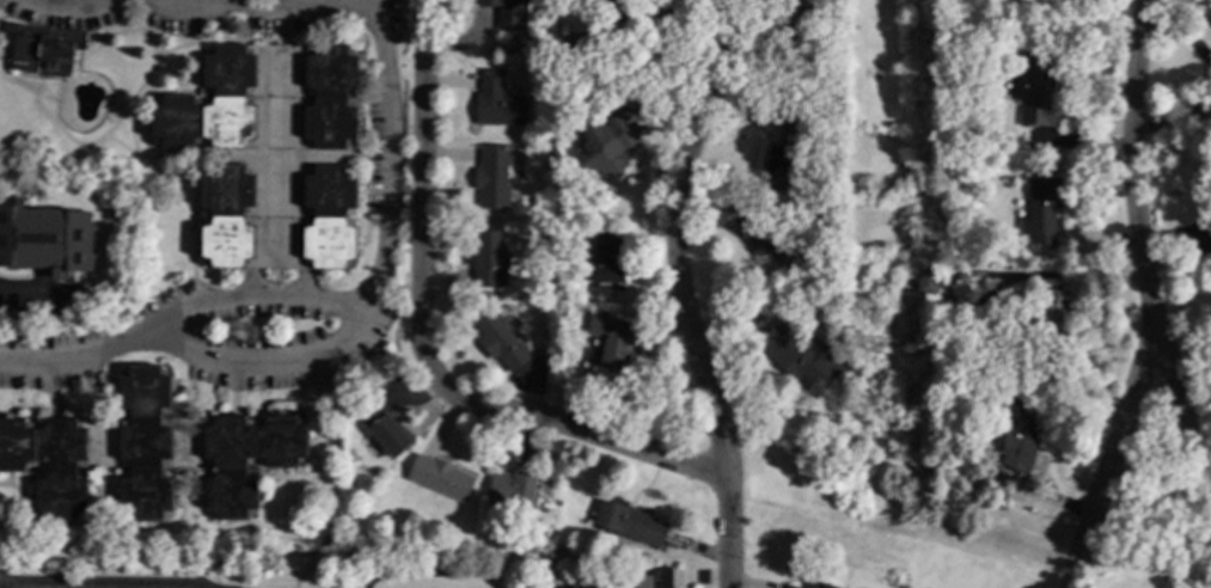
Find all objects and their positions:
road: (298, 2)
road: (73, 5)
building: (611, 10)
building: (508, 13)
building: (796, 25)
building: (576, 44)
building: (42, 49)
building: (1034, 92)
building: (496, 102)
building: (607, 149)
building: (782, 154)
building: (273, 155)
building: (493, 177)
building: (807, 209)
building: (1040, 210)
road: (1134, 234)
building: (764, 235)
building: (45, 240)
building: (604, 257)
building: (489, 259)
building: (926, 282)
road: (25, 288)
road: (683, 293)
road: (1178, 294)
road: (258, 296)
building: (854, 304)
building: (1056, 311)
road: (338, 341)
building: (499, 341)
road: (424, 345)
building: (617, 347)
power tower: (877, 350)
power tower: (912, 350)
building: (799, 359)
building: (968, 399)
building: (384, 427)
building: (1022, 437)
building: (195, 451)
building: (48, 464)
road: (1109, 470)
building: (440, 478)
building: (512, 491)
building: (629, 525)
building: (649, 580)
road: (4, 583)
parking lot: (109, 583)
building: (814, 584)
building: (567, 586)
building: (789, 587)

